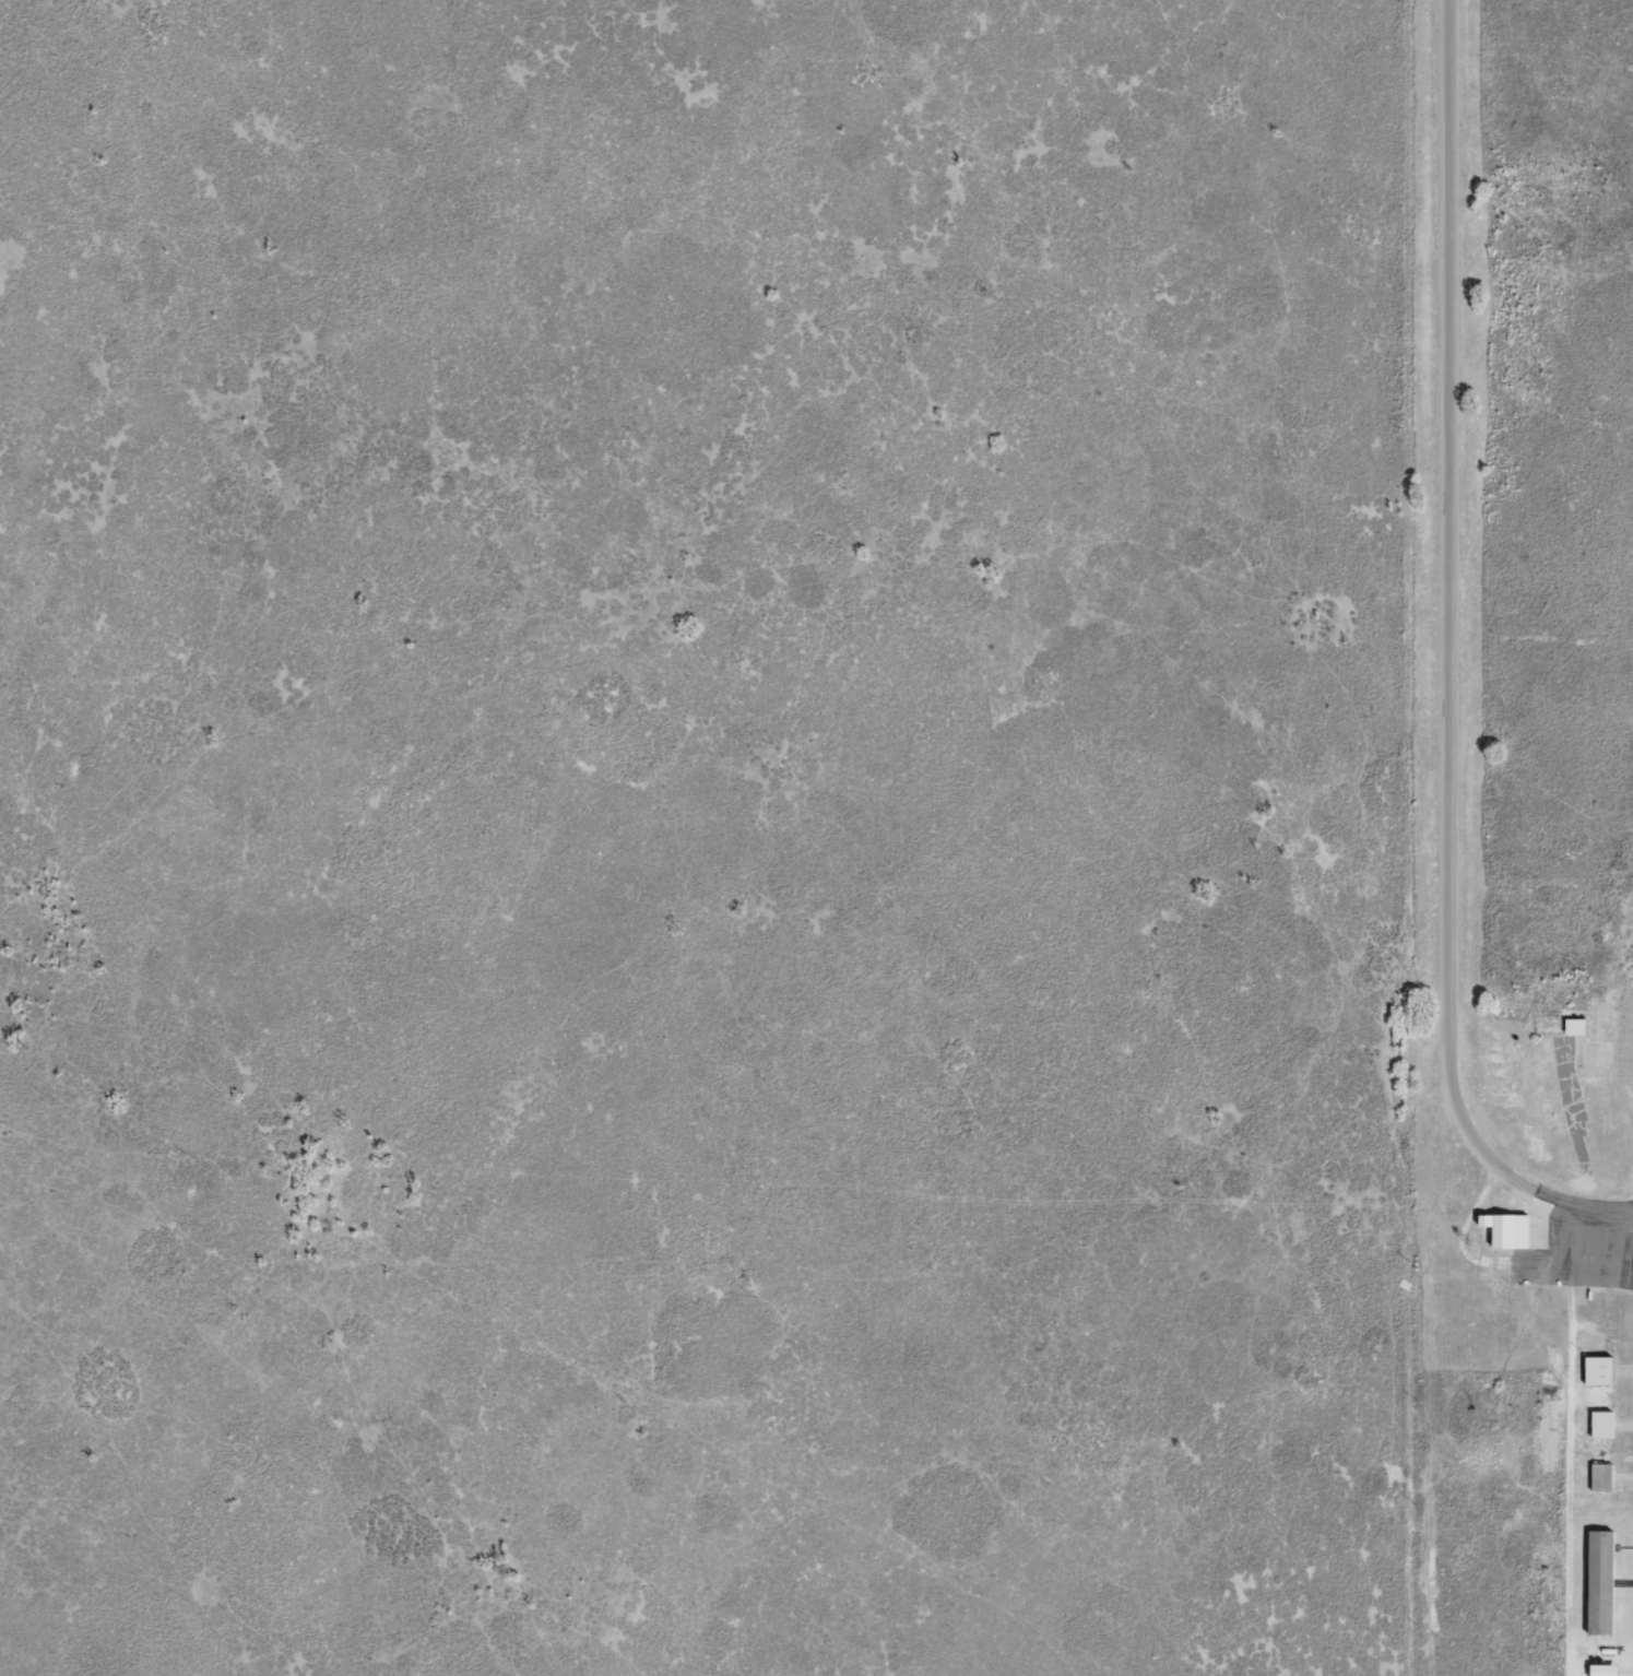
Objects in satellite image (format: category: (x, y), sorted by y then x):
road: (1448, 623)
airport: (1527, 837)
building: (1572, 1027)
road: (1460, 1234)
airport apron: (1577, 1246)
airport taxiway: (1623, 1376)
airport taxiway: (1623, 1427)
road: (1569, 1480)
airport taxiway: (1621, 1480)
building: (1599, 1669)

